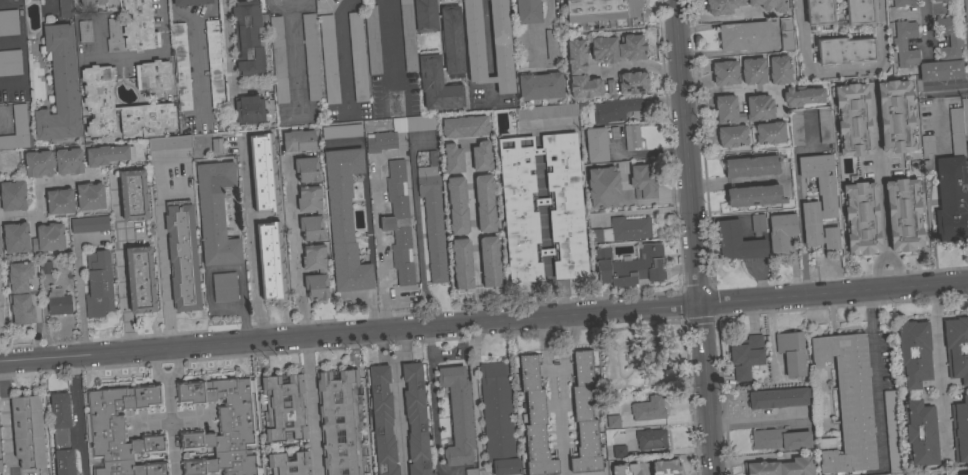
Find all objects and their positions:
building: (275, 0)
road: (51, 1)
road: (110, 1)
building: (945, 1)
building: (91, 2)
building: (190, 2)
building: (903, 3)
building: (65, 8)
building: (720, 8)
building: (965, 9)
building: (601, 10)
building: (819, 12)
building: (859, 12)
building: (425, 16)
building: (9, 23)
building: (525, 25)
road: (924, 25)
building: (133, 29)
road: (539, 30)
building: (85, 31)
building: (408, 35)
building: (786, 35)
building: (744, 36)
building: (248, 37)
building: (500, 38)
road: (388, 39)
building: (373, 40)
building: (452, 42)
building: (552, 43)
road: (196, 47)
building: (631, 47)
road: (290, 48)
road: (511, 48)
building: (604, 49)
building: (948, 49)
building: (844, 50)
road: (24, 56)
road: (139, 56)
building: (311, 57)
building: (358, 57)
building: (279, 60)
building: (329, 60)
building: (10, 62)
building: (214, 63)
road: (637, 64)
building: (182, 67)
road: (840, 67)
building: (779, 70)
building: (753, 71)
building: (580, 72)
building: (725, 73)
building: (153, 76)
building: (632, 82)
building: (437, 85)
building: (540, 86)
building: (59, 87)
road: (944, 89)
road: (729, 90)
building: (803, 96)
road: (702, 105)
building: (120, 107)
building: (249, 110)
building: (760, 110)
building: (614, 111)
building: (547, 112)
building: (895, 116)
building: (853, 120)
building: (825, 125)
building: (796, 127)
building: (468, 128)
building: (17, 130)
building: (959, 130)
building: (341, 131)
building: (398, 132)
building: (770, 133)
building: (615, 134)
building: (732, 136)
building: (631, 137)
building: (298, 141)
building: (170, 143)
road: (536, 144)
building: (217, 145)
building: (596, 145)
building: (927, 145)
road: (537, 152)
road: (643, 153)
building: (107, 154)
building: (967, 154)
building: (477, 158)
building: (53, 163)
building: (752, 166)
building: (306, 169)
building: (263, 173)
road: (539, 177)
building: (486, 181)
building: (643, 181)
building: (452, 183)
building: (603, 187)
road: (879, 188)
road: (38, 190)
building: (133, 195)
building: (12, 196)
building: (90, 196)
building: (754, 196)
road: (797, 197)
building: (60, 201)
road: (640, 201)
building: (952, 201)
road: (541, 202)
building: (827, 202)
building: (481, 204)
building: (215, 214)
building: (318, 214)
building: (904, 215)
building: (861, 217)
building: (432, 219)
building: (344, 220)
building: (399, 222)
building: (757, 224)
building: (89, 225)
road: (544, 227)
building: (566, 227)
building: (622, 230)
building: (781, 232)
road: (472, 233)
road: (695, 237)
building: (16, 238)
building: (48, 238)
road: (418, 238)
road: (252, 240)
building: (0, 242)
building: (738, 242)
road: (163, 243)
road: (380, 243)
building: (491, 247)
building: (590, 247)
road: (295, 248)
building: (458, 250)
building: (0, 251)
road: (546, 252)
building: (182, 256)
building: (270, 262)
building: (486, 263)
building: (630, 266)
road: (224, 267)
building: (45, 268)
road: (122, 268)
road: (547, 268)
building: (322, 272)
building: (140, 279)
building: (98, 284)
building: (224, 287)
building: (20, 293)
road: (562, 293)
road: (536, 295)
building: (58, 302)
building: (1, 313)
road: (483, 321)
building: (957, 349)
park: (652, 351)
building: (791, 353)
building: (914, 354)
building: (746, 357)
road: (684, 359)
road: (564, 360)
road: (937, 364)
road: (555, 369)
road: (166, 376)
road: (876, 376)
road: (473, 392)
road: (551, 392)
road: (433, 398)
building: (778, 398)
road: (395, 402)
building: (847, 404)
road: (311, 405)
building: (284, 408)
building: (648, 409)
road: (76, 415)
building: (458, 415)
building: (585, 415)
building: (498, 418)
building: (534, 418)
road: (757, 418)
road: (4, 419)
building: (416, 419)
building: (382, 420)
building: (613, 422)
building: (340, 423)
road: (170, 426)
building: (220, 426)
building: (960, 430)
building: (121, 431)
building: (892, 431)
building: (28, 432)
building: (920, 433)
building: (61, 434)
building: (651, 439)
building: (780, 439)
building: (619, 452)
road: (751, 458)
building: (289, 464)
building: (0, 467)
building: (780, 467)
building: (666, 468)
building: (625, 469)
building: (471, 471)
road: (646, 471)
building: (913, 474)
building: (967, 474)

